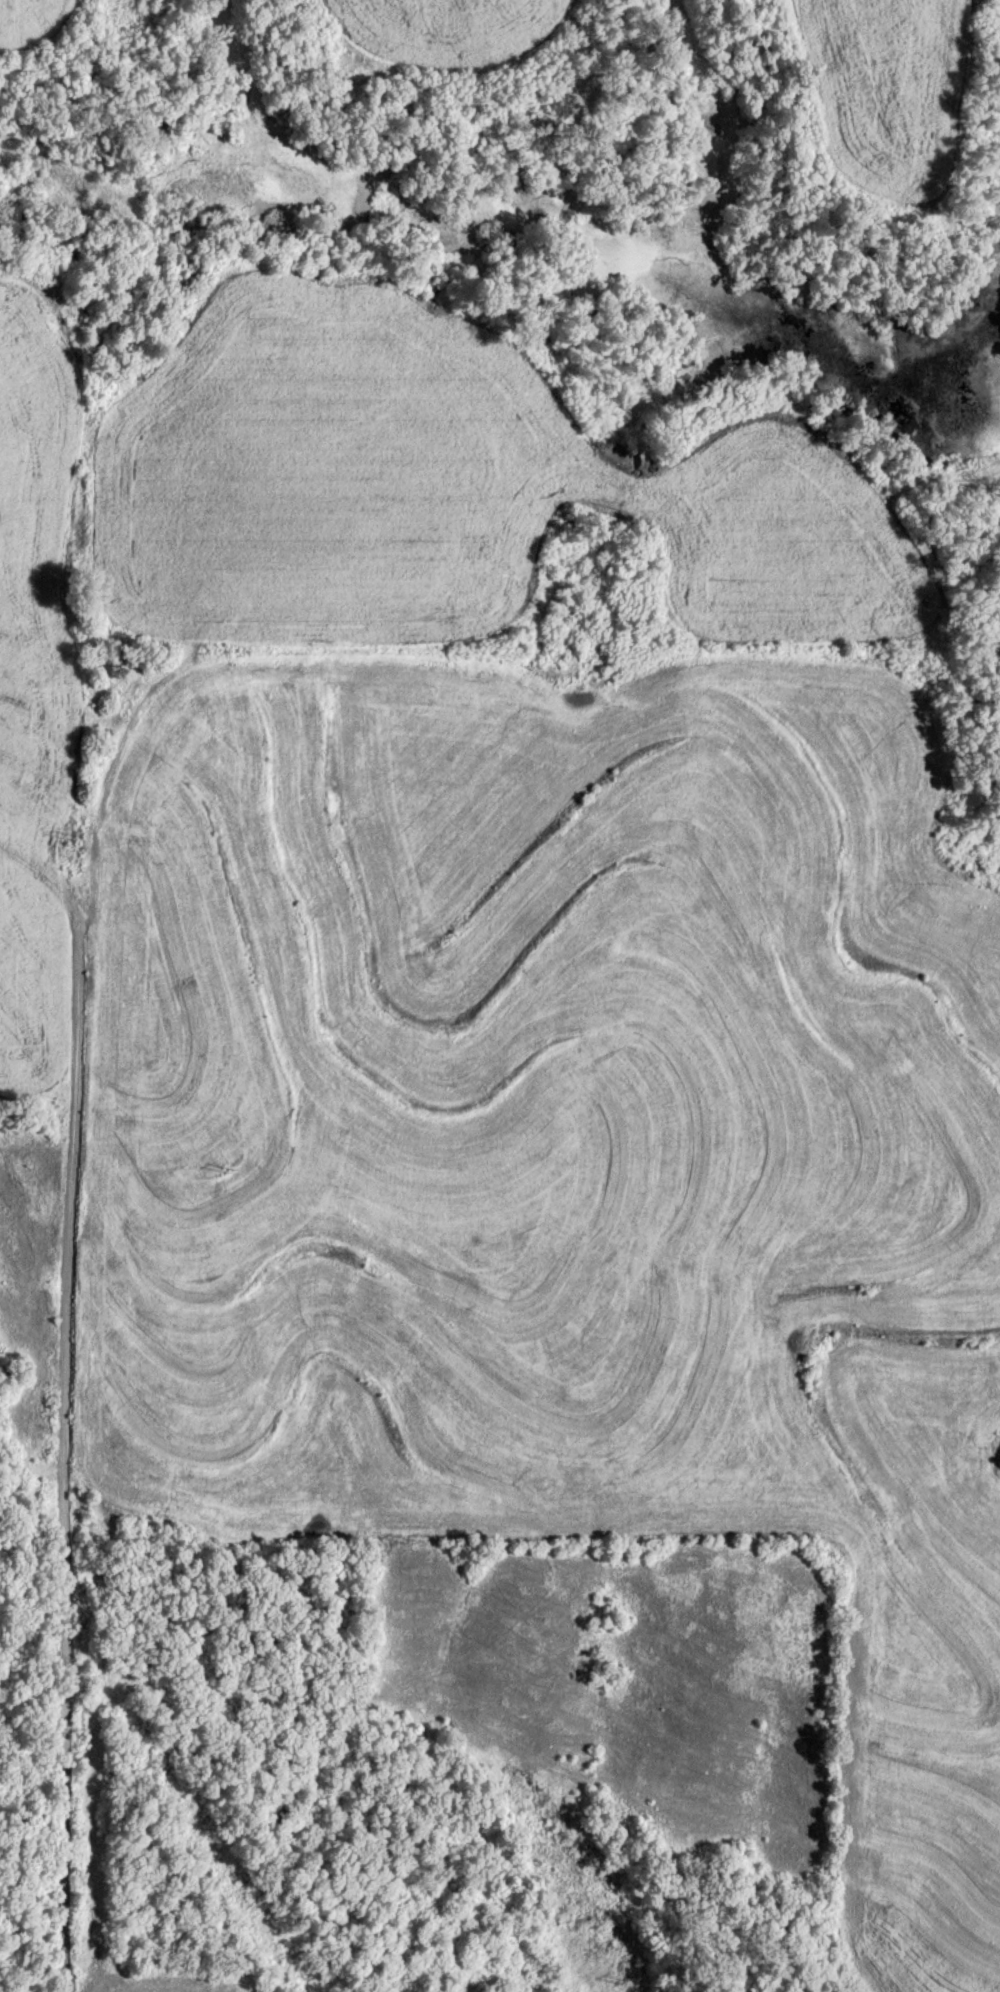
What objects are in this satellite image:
power tower: (66, 831)
power tower: (227, 1167)
power tower: (407, 1545)
power tower: (620, 1984)

